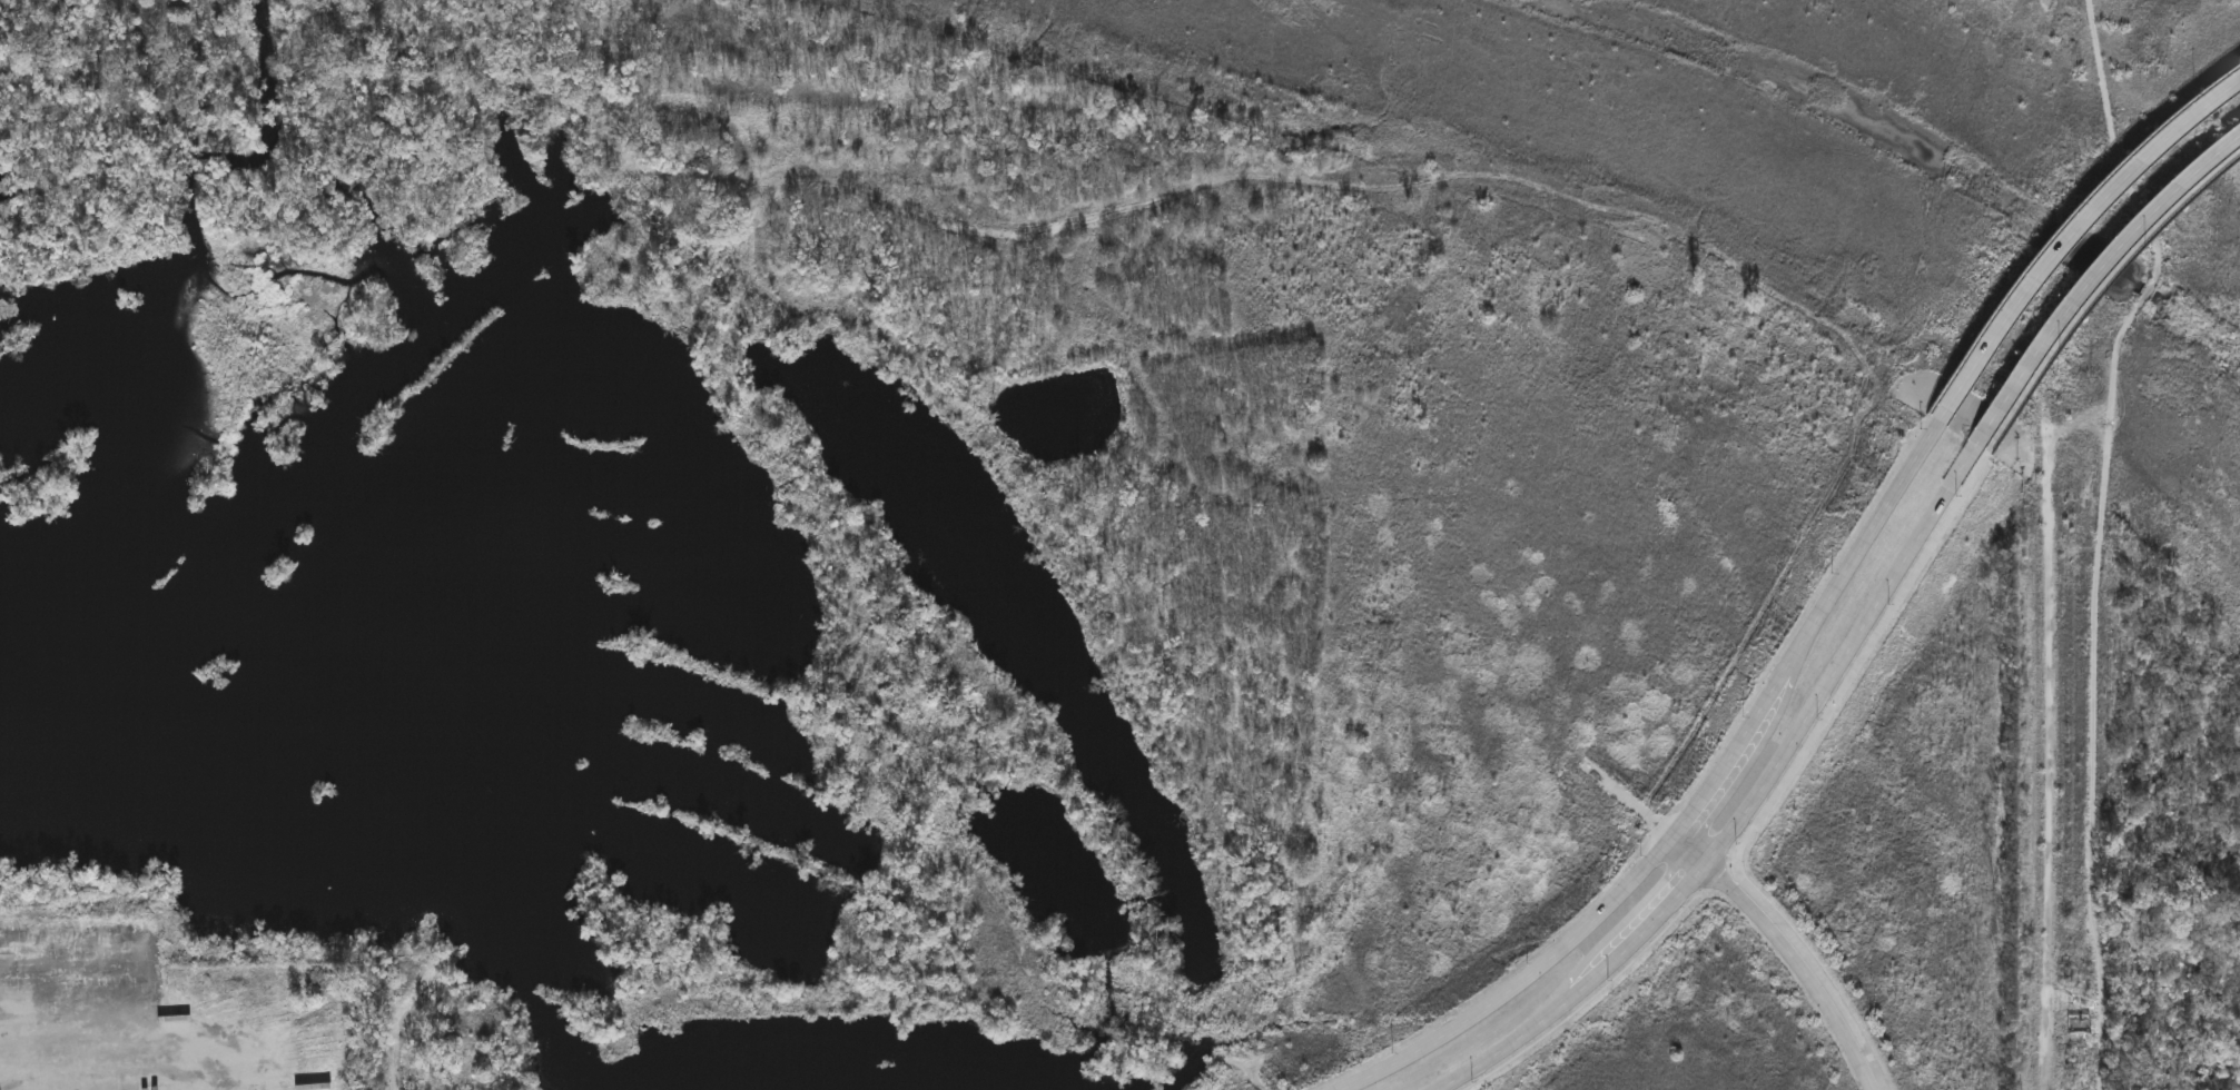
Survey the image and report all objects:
road: (2073, 234)
road: (2090, 277)
road: (2101, 298)
road: (1802, 776)
road: (1695, 797)
road: (1754, 806)
road: (1786, 947)
road: (99, 1037)

